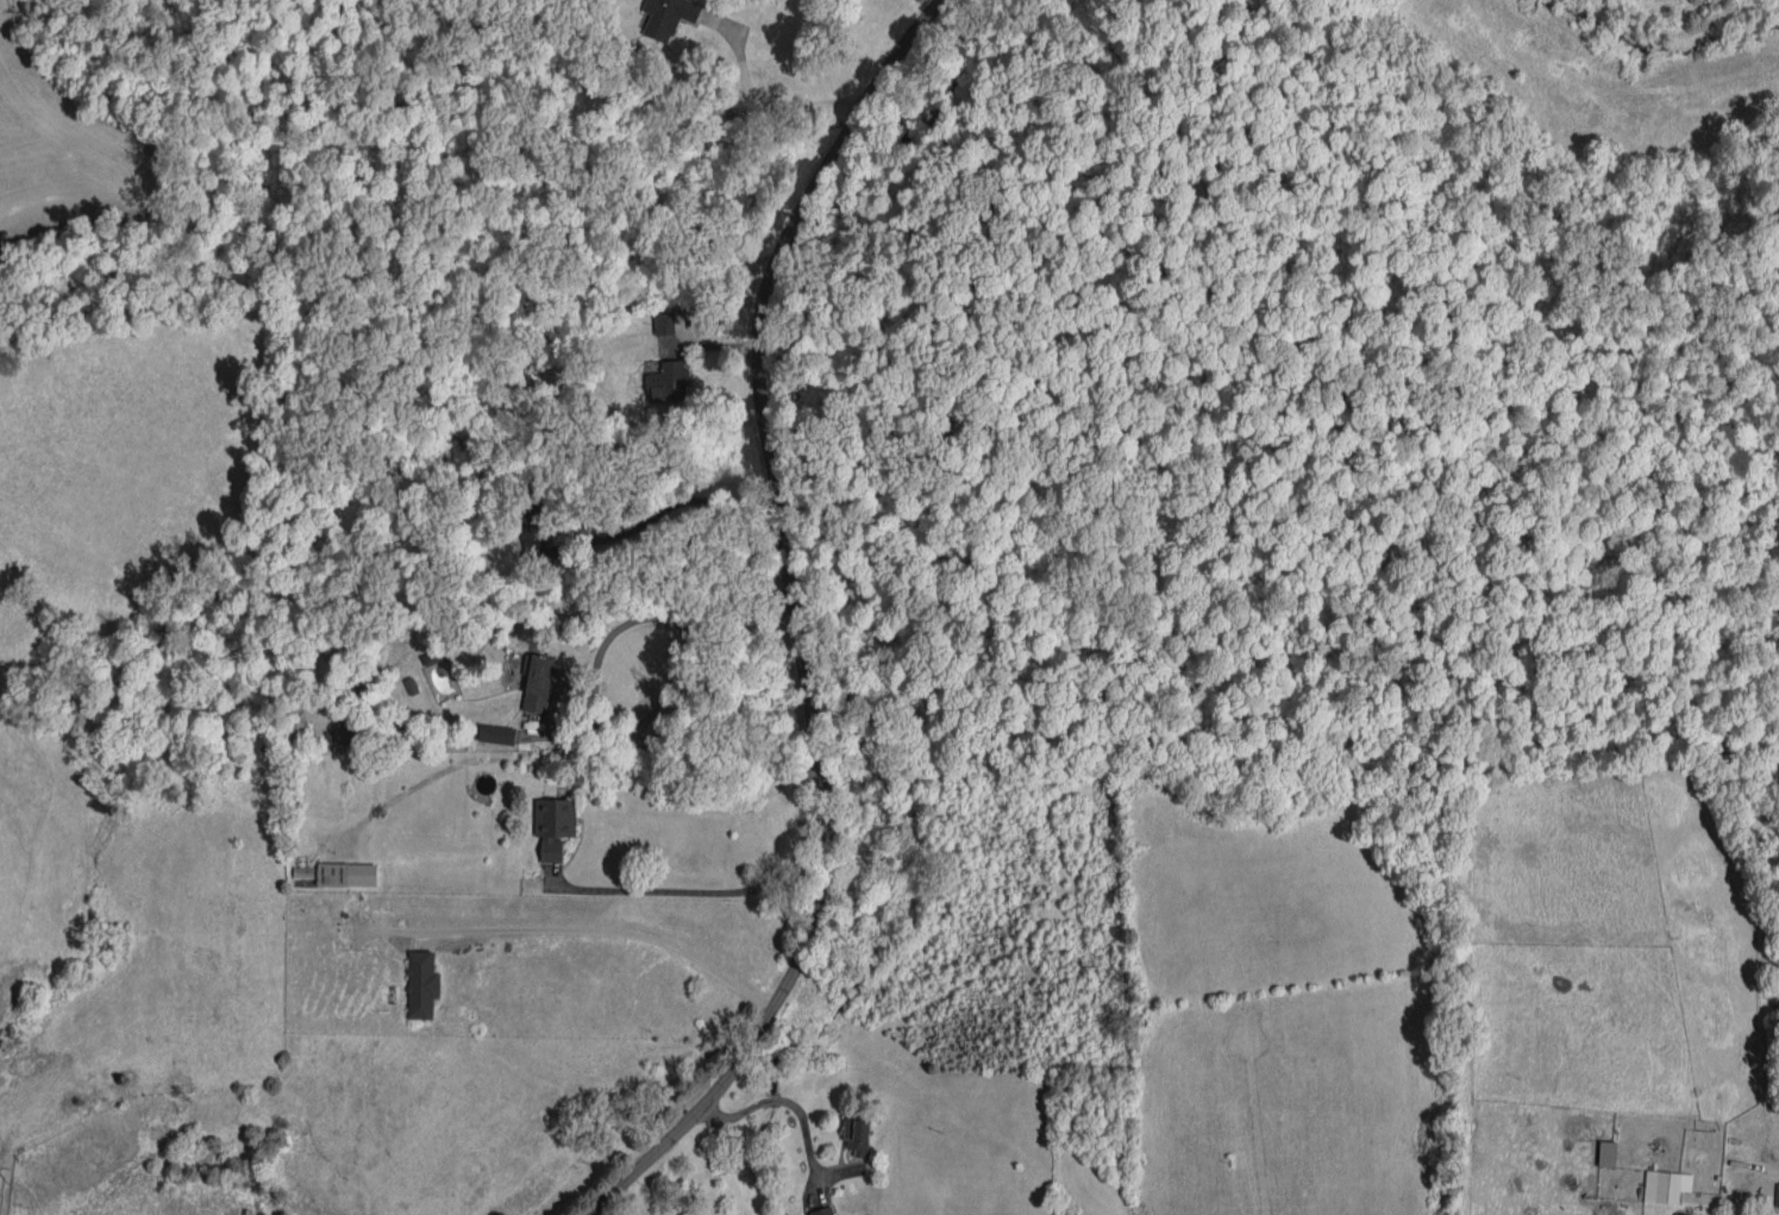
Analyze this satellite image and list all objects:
building: (668, 17)
road: (771, 108)
building: (663, 322)
building: (671, 377)
road: (678, 501)
road: (778, 519)
building: (532, 528)
road: (593, 674)
building: (538, 681)
building: (347, 731)
building: (496, 733)
building: (553, 825)
building: (340, 872)
road: (739, 890)
road: (601, 932)
building: (421, 983)
road: (784, 1101)
building: (857, 1135)
road: (662, 1139)
building: (1666, 1185)
building: (1777, 1195)
building: (822, 1210)

